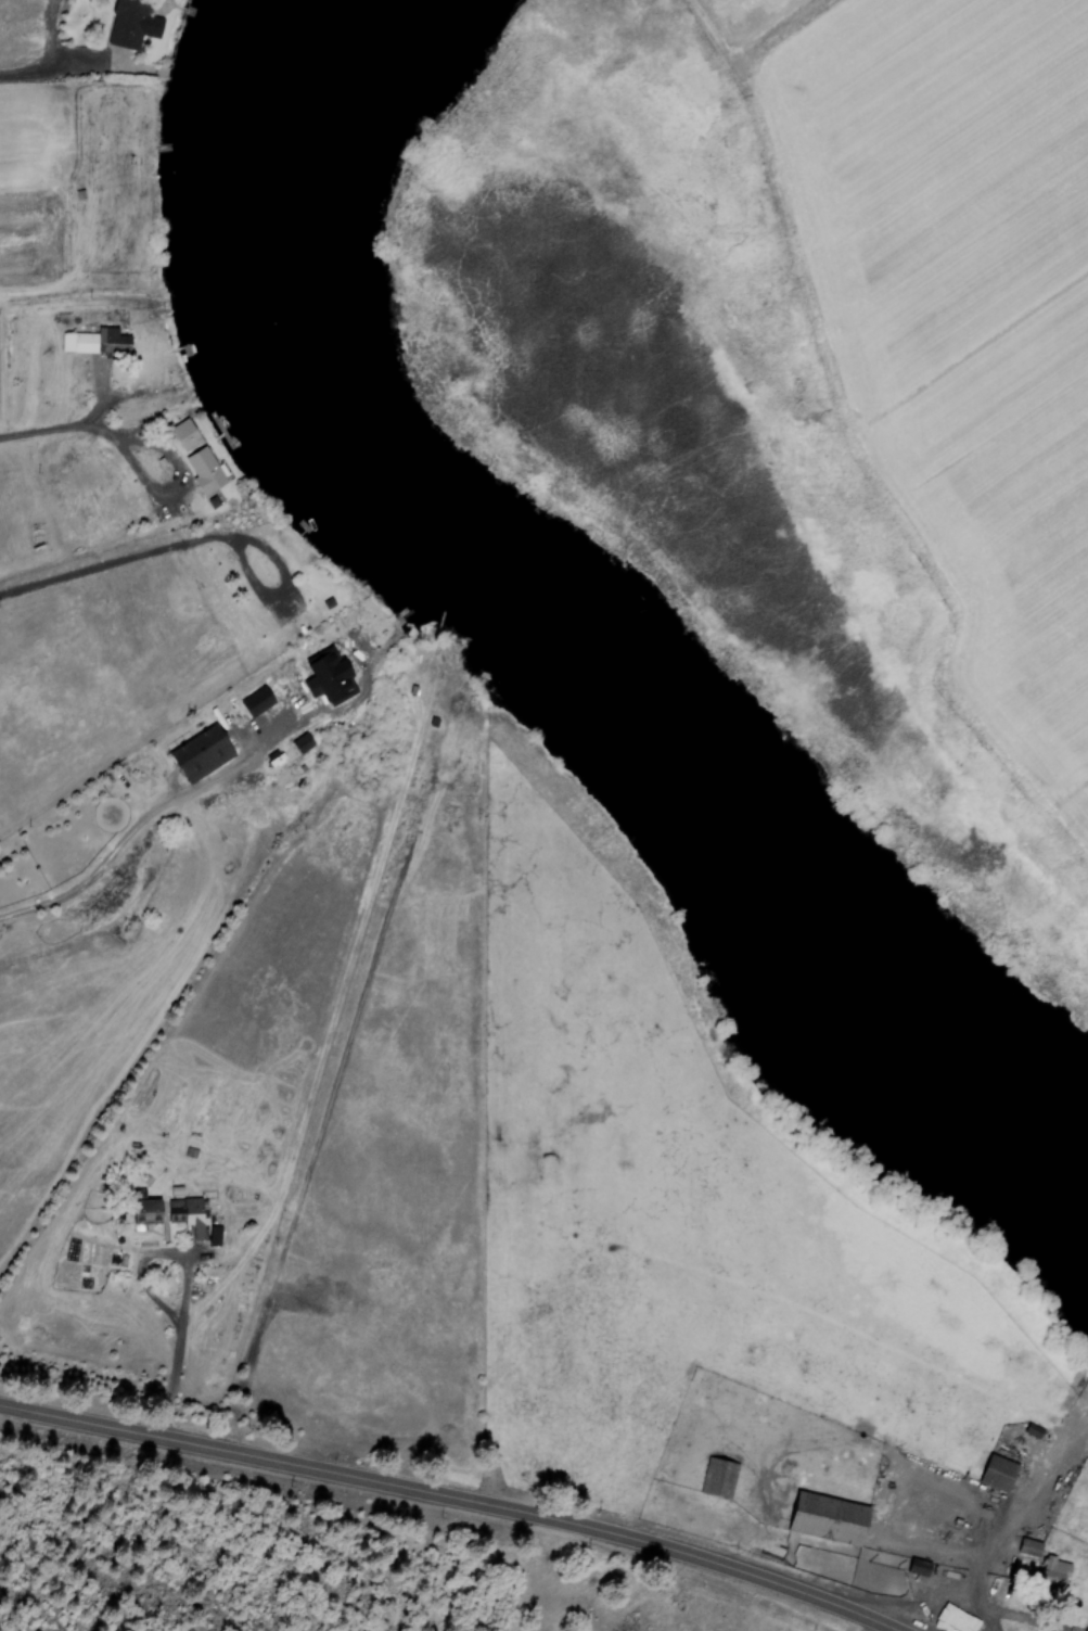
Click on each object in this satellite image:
building: (136, 23)
river: (282, 317)
building: (92, 341)
building: (190, 433)
building: (208, 471)
building: (261, 700)
building: (303, 743)
building: (206, 752)
river: (714, 814)
river: (1007, 1129)
building: (178, 1216)
building: (1001, 1473)
building: (720, 1476)
road: (433, 1499)
building: (833, 1518)
building: (1032, 1546)
road: (995, 1557)
building: (922, 1567)
building: (1058, 1572)
road: (976, 1606)
road: (868, 1626)
building: (1087, 1630)

